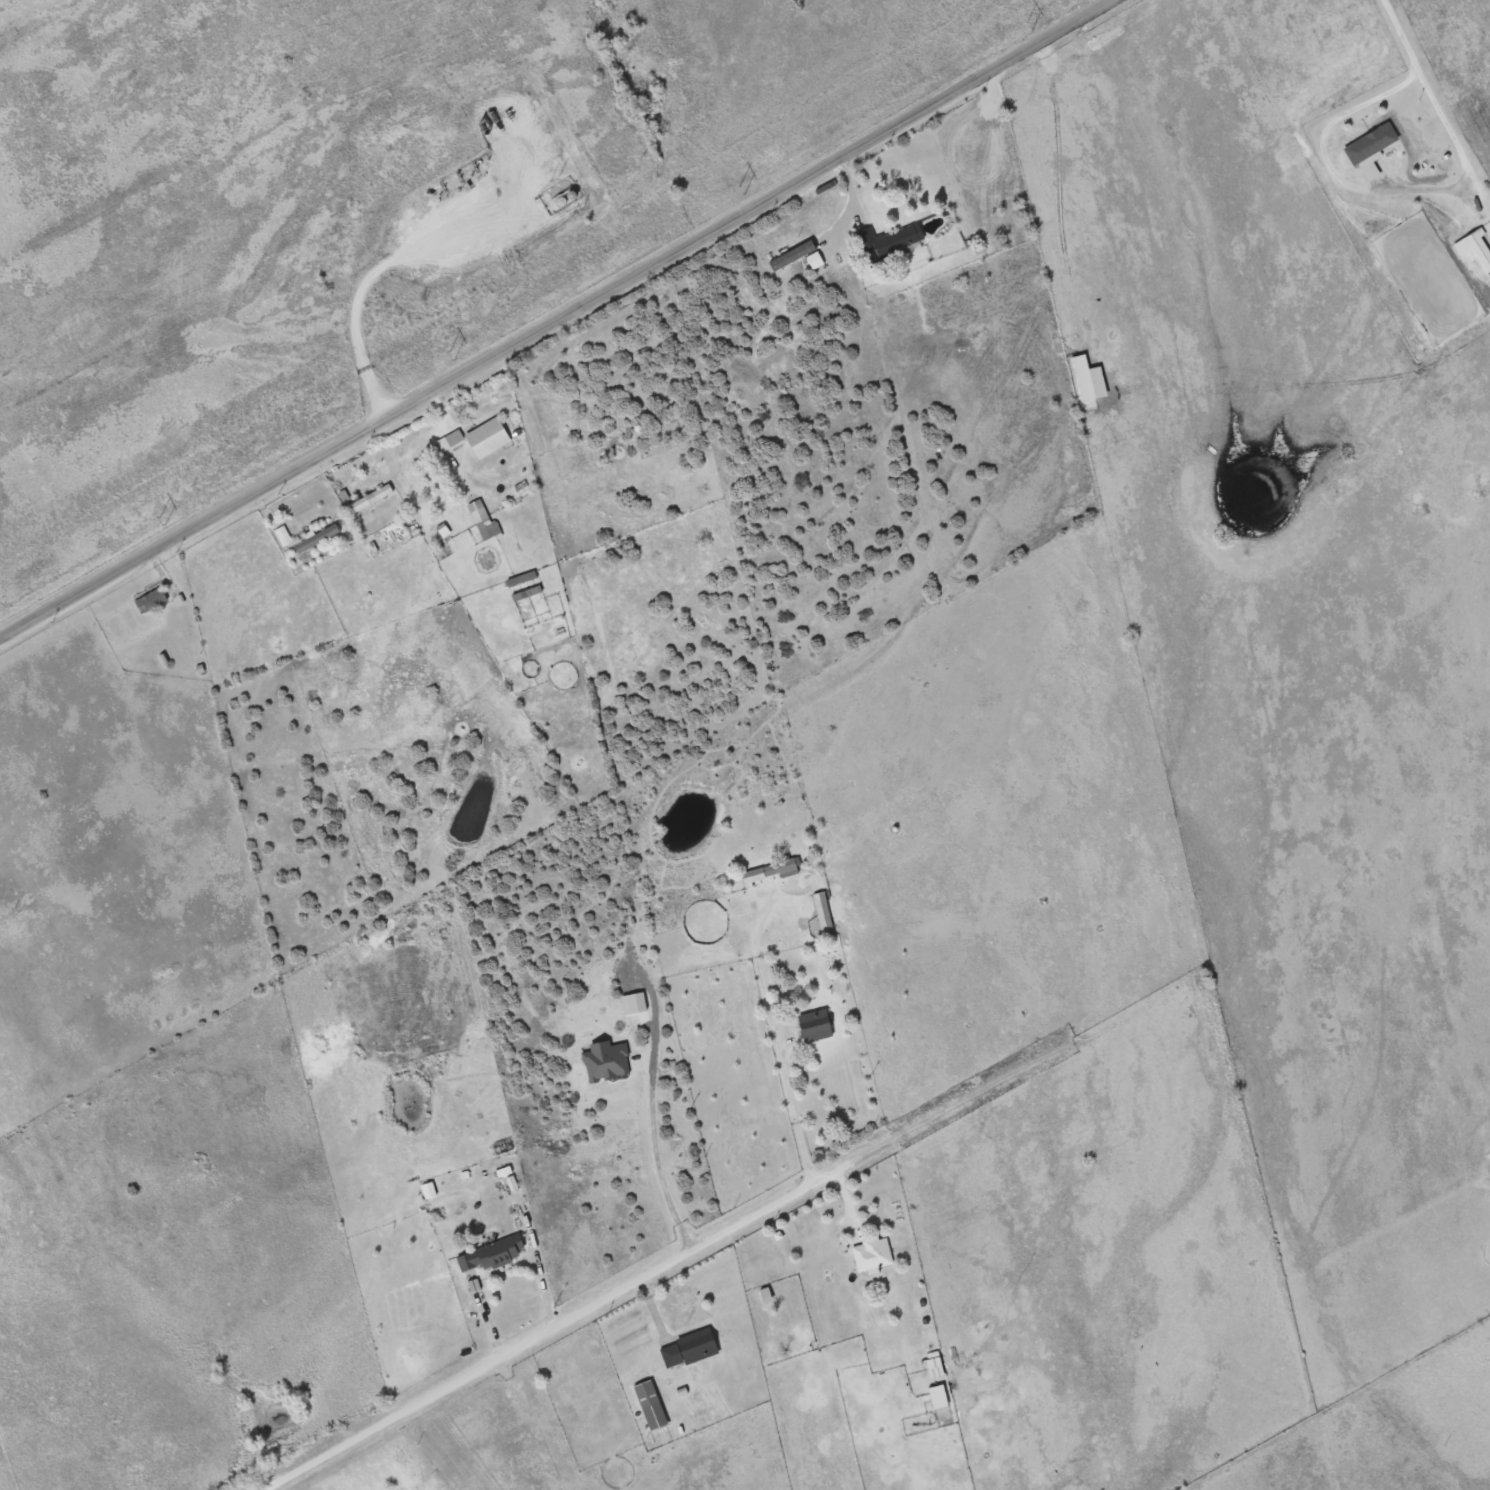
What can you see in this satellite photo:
road: (1402, 29)
building: (1368, 151)
road: (1381, 185)
road: (847, 190)
building: (888, 242)
building: (1478, 250)
road: (377, 274)
road: (547, 314)
road: (435, 404)
building: (485, 438)
building: (452, 439)
building: (368, 499)
building: (480, 520)
building: (281, 537)
building: (314, 539)
building: (520, 579)
building: (149, 601)
building: (769, 871)
building: (820, 911)
building: (812, 1027)
road: (780, 1037)
road: (658, 1153)
building: (457, 1209)
building: (489, 1255)
building: (870, 1257)
road: (600, 1300)
road: (483, 1315)
building: (686, 1350)
building: (932, 1365)
building: (936, 1397)
building: (648, 1406)

